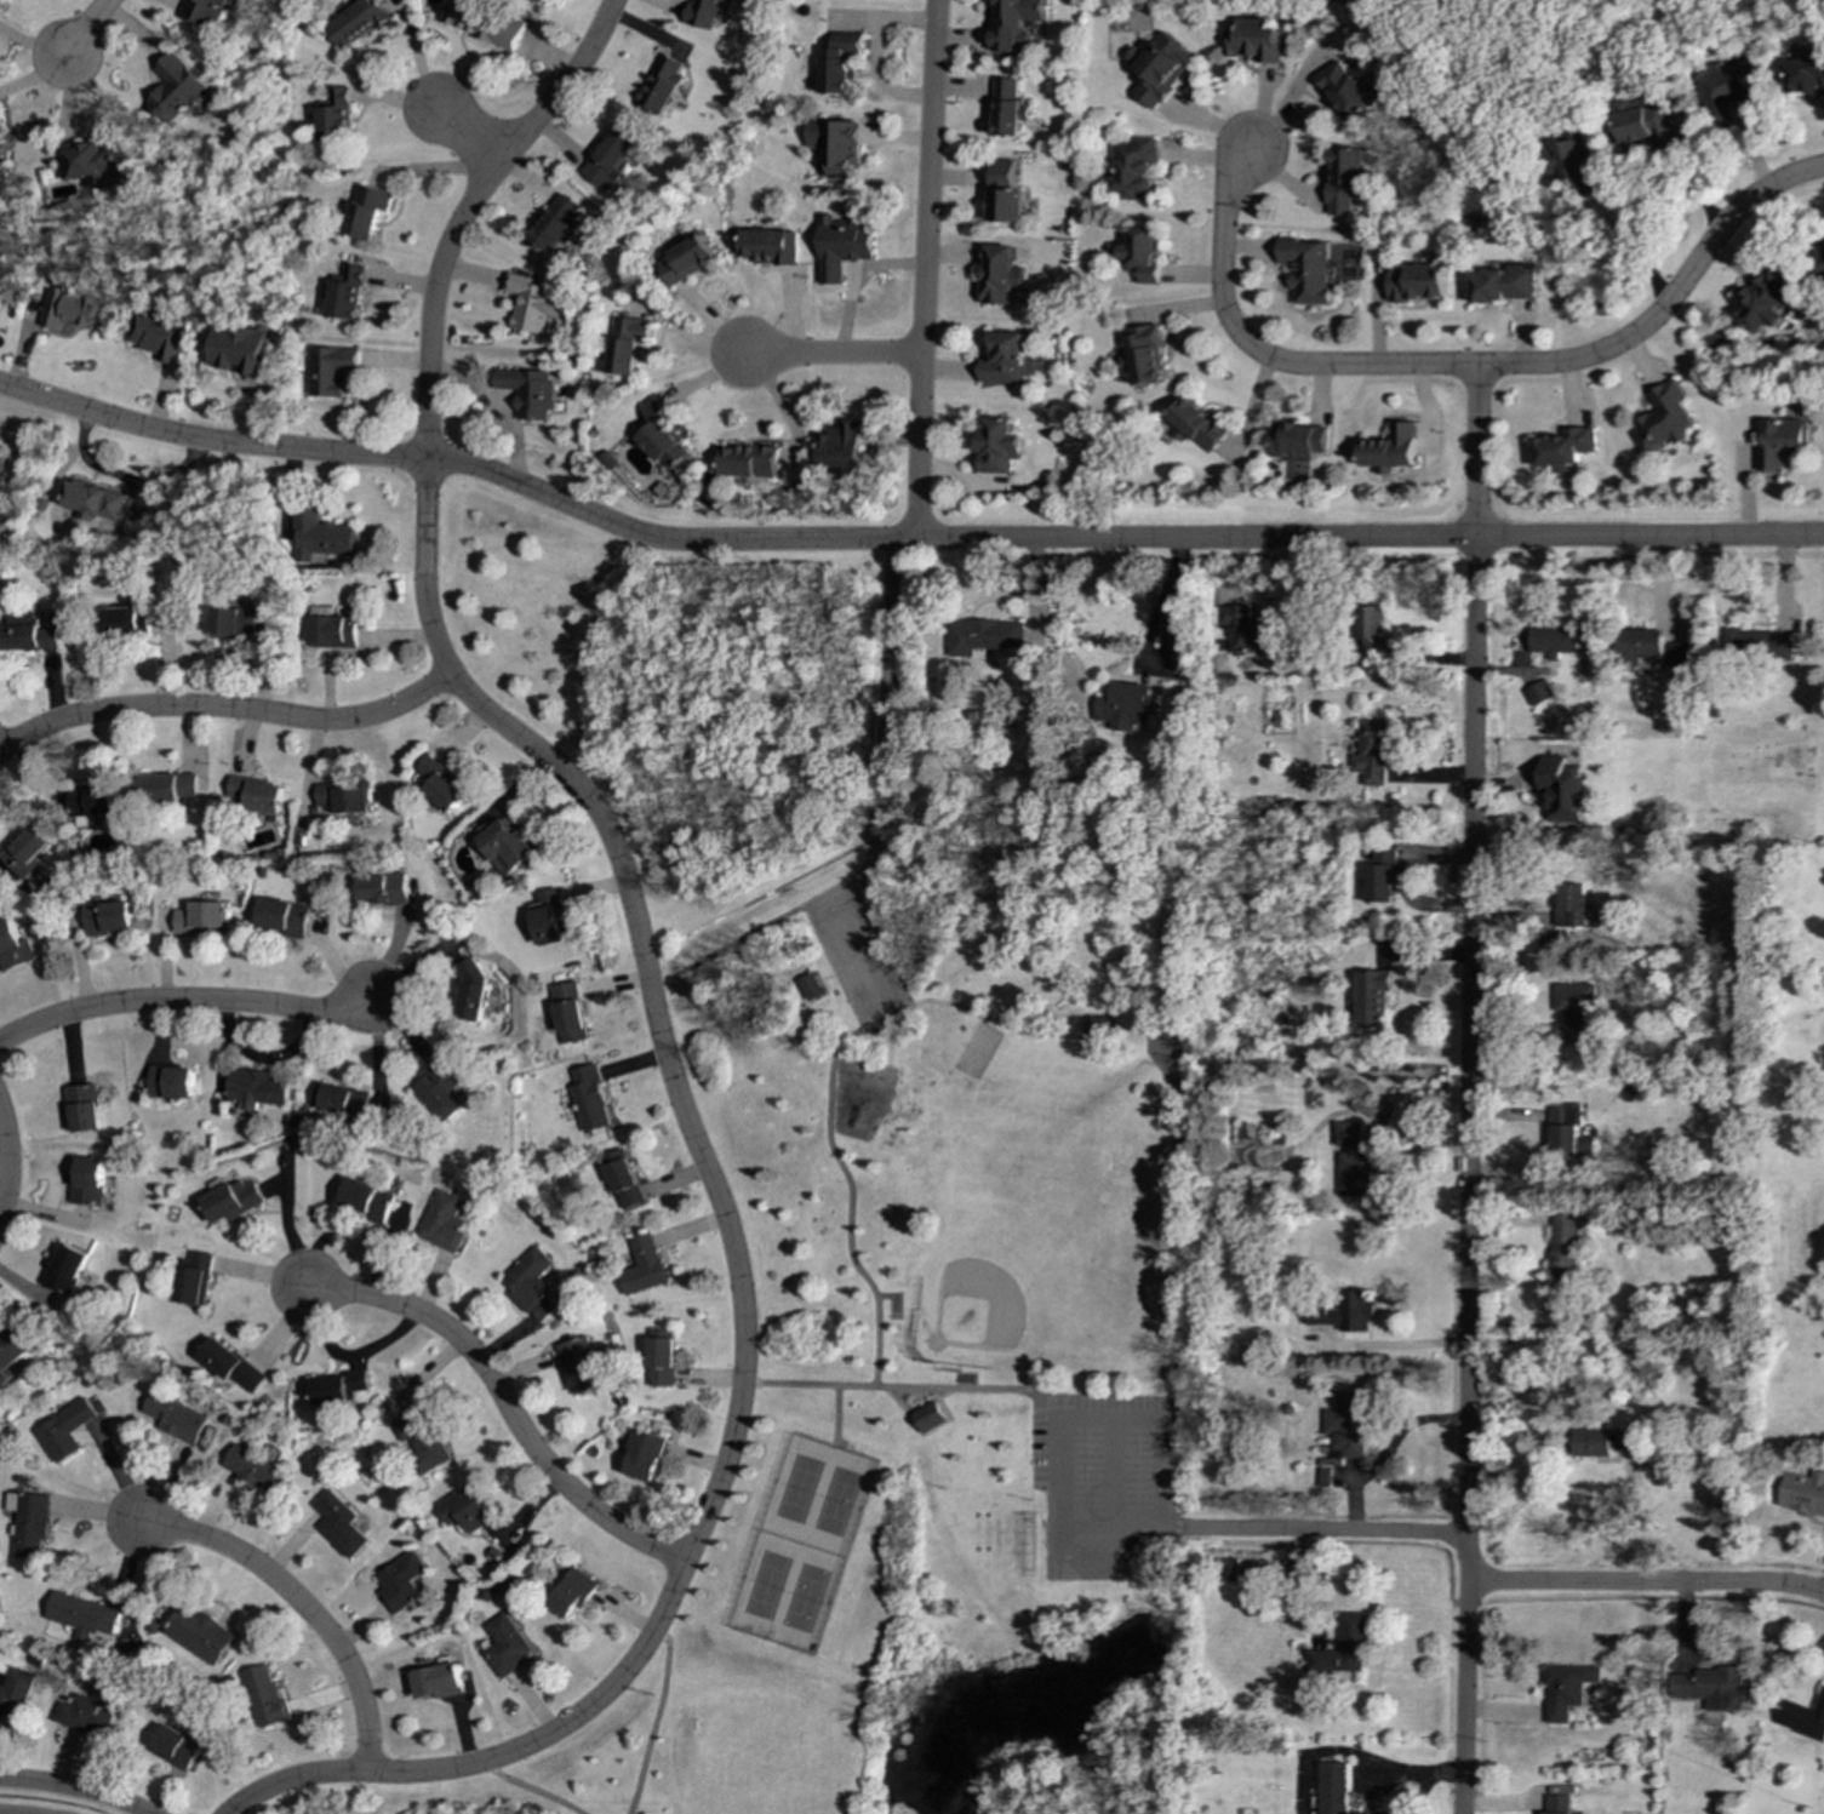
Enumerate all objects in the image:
building: (532, 0)
building: (202, 11)
building: (705, 12)
building: (356, 22)
building: (1012, 22)
building: (482, 23)
road: (84, 29)
building: (1252, 40)
building: (837, 63)
building: (1157, 67)
building: (1806, 71)
building: (661, 84)
building: (176, 88)
building: (1344, 90)
building: (1728, 90)
building: (1006, 108)
building: (335, 114)
building: (1647, 120)
building: (1, 132)
road: (470, 137)
building: (835, 144)
building: (610, 156)
building: (1574, 159)
building: (90, 162)
building: (1, 165)
building: (1132, 166)
building: (1344, 178)
building: (1005, 191)
building: (366, 210)
building: (556, 224)
road: (1636, 240)
building: (841, 245)
building: (770, 246)
building: (1142, 253)
building: (1822, 258)
building: (686, 261)
building: (1306, 269)
road: (924, 270)
building: (1000, 275)
building: (1417, 282)
building: (1503, 284)
building: (1, 290)
building: (347, 292)
building: (1765, 301)
building: (531, 303)
building: (70, 309)
building: (160, 333)
building: (627, 343)
building: (236, 348)
road: (830, 355)
building: (1145, 355)
building: (1004, 359)
road: (1469, 366)
building: (331, 370)
building: (528, 391)
building: (1663, 418)
building: (1197, 424)
building: (662, 435)
building: (1298, 437)
building: (1778, 441)
building: (997, 445)
building: (1393, 447)
building: (840, 448)
building: (1563, 448)
building: (1, 462)
road: (451, 462)
building: (748, 462)
building: (90, 503)
road: (424, 505)
road: (1368, 538)
road: (904, 542)
road: (1159, 602)
building: (121, 622)
building: (233, 623)
building: (332, 631)
building: (1170, 634)
building: (983, 635)
building: (1368, 635)
building: (29, 636)
building: (1553, 641)
building: (1639, 643)
building: (1757, 645)
building: (1680, 653)
building: (1538, 692)
building: (1122, 706)
road: (225, 709)
road: (888, 732)
building: (1368, 753)
building: (440, 784)
building: (168, 786)
building: (1561, 789)
building: (257, 794)
building: (344, 796)
building: (93, 803)
building: (505, 845)
building: (25, 851)
building: (1378, 875)
building: (383, 888)
building: (1571, 906)
building: (286, 916)
building: (548, 916)
building: (108, 917)
building: (204, 917)
road: (737, 939)
building: (12, 948)
road: (857, 956)
building: (808, 986)
building: (473, 994)
building: (1371, 997)
road: (182, 1002)
building: (1574, 1008)
building: (568, 1012)
building: (1096, 1026)
road: (833, 1054)
building: (171, 1082)
building: (440, 1087)
building: (256, 1088)
road: (1469, 1089)
building: (588, 1099)
building: (342, 1100)
building: (82, 1108)
building: (1568, 1134)
building: (1354, 1160)
road: (6, 1164)
building: (622, 1178)
building: (86, 1180)
building: (366, 1198)
building: (231, 1201)
park: (877, 1204)
building: (444, 1221)
road: (1172, 1226)
building: (1561, 1243)
building: (641, 1265)
building: (64, 1269)
building: (194, 1278)
building: (531, 1284)
building: (1344, 1311)
road: (1395, 1345)
building: (11, 1352)
road: (344, 1356)
building: (661, 1362)
building: (231, 1364)
building: (581, 1364)
building: (339, 1386)
road: (905, 1386)
road: (503, 1403)
building: (176, 1417)
building: (927, 1417)
road: (1114, 1418)
building: (1346, 1425)
building: (64, 1430)
building: (421, 1440)
building: (1600, 1442)
building: (647, 1455)
building: (256, 1469)
road: (1115, 1473)
building: (1801, 1493)
building: (467, 1509)
building: (29, 1522)
building: (339, 1523)
road: (1120, 1529)
road: (1323, 1532)
road: (1058, 1543)
road: (692, 1545)
road: (1119, 1557)
building: (1224, 1569)
building: (401, 1580)
road: (1643, 1585)
building: (573, 1592)
road: (304, 1610)
building: (82, 1615)
building: (199, 1633)
building: (505, 1644)
building: (1340, 1648)
building: (438, 1681)
building: (1710, 1687)
building: (1563, 1688)
building: (15, 1693)
building: (264, 1698)
building: (90, 1707)
building: (1802, 1717)
road: (656, 1721)
building: (173, 1746)
building: (1333, 1787)
road: (528, 1789)
road: (73, 1790)
building: (1555, 1804)

